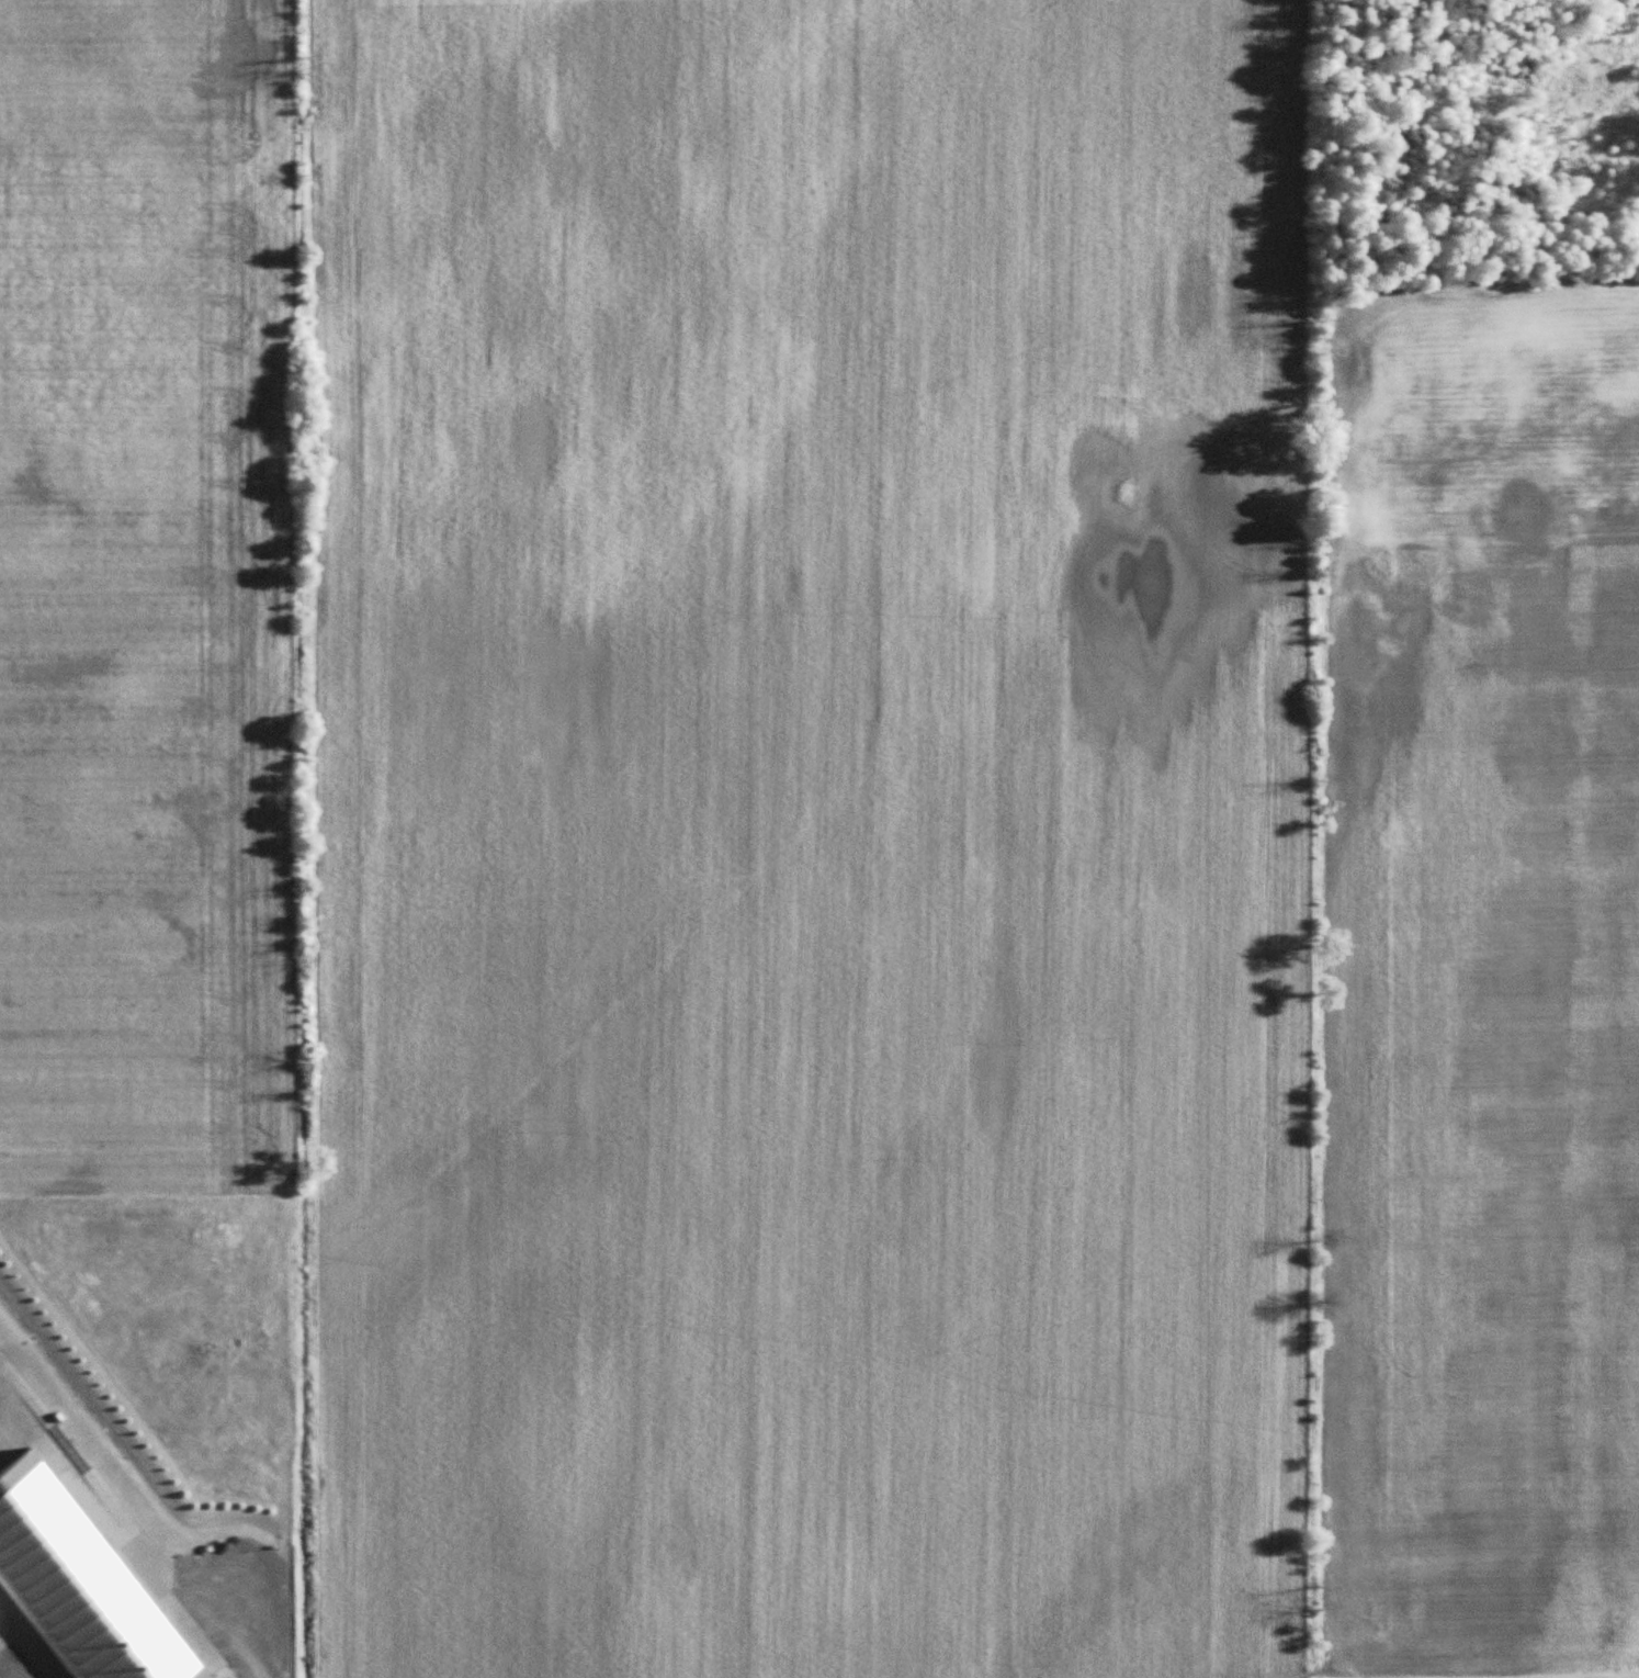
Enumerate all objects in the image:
road: (275, 1642)
road: (265, 1671)

